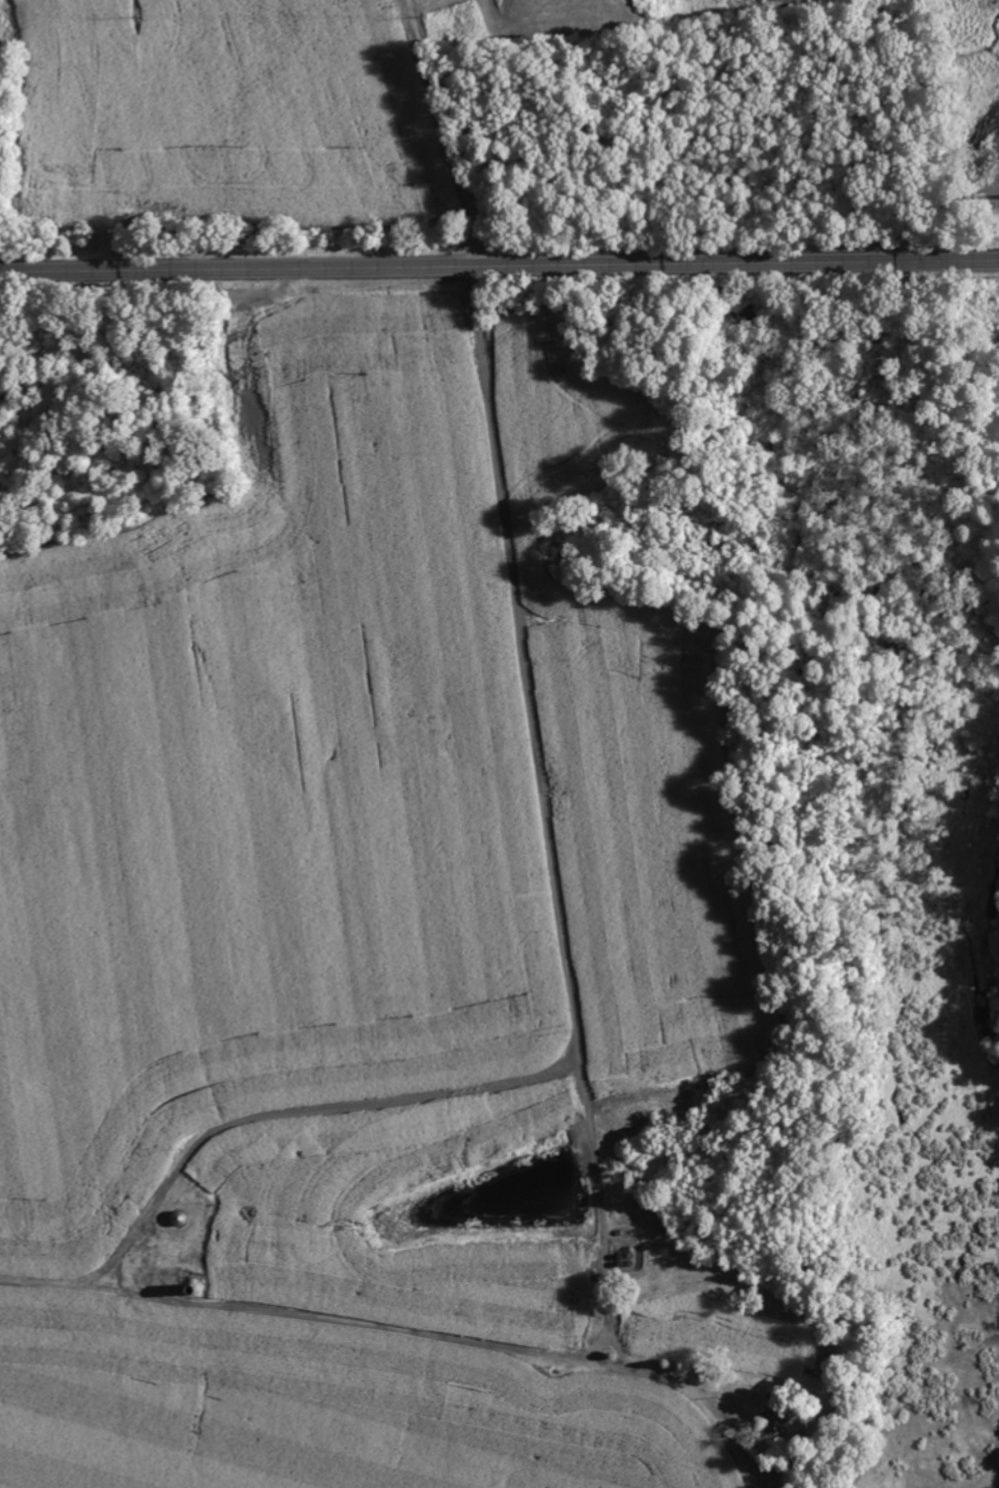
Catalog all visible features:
road: (440, 131)
road: (499, 263)
road: (540, 760)
building: (781, 1421)

